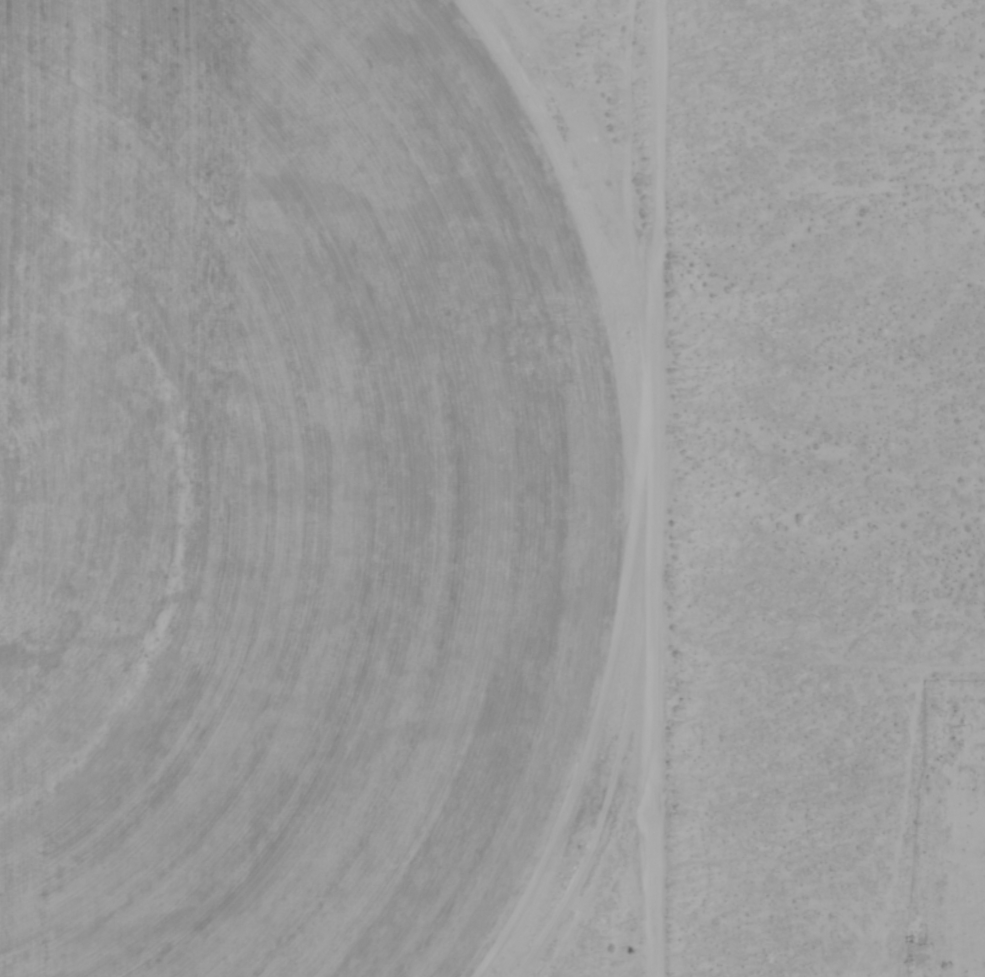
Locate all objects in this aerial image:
crop: (254, 483)
road: (651, 488)

